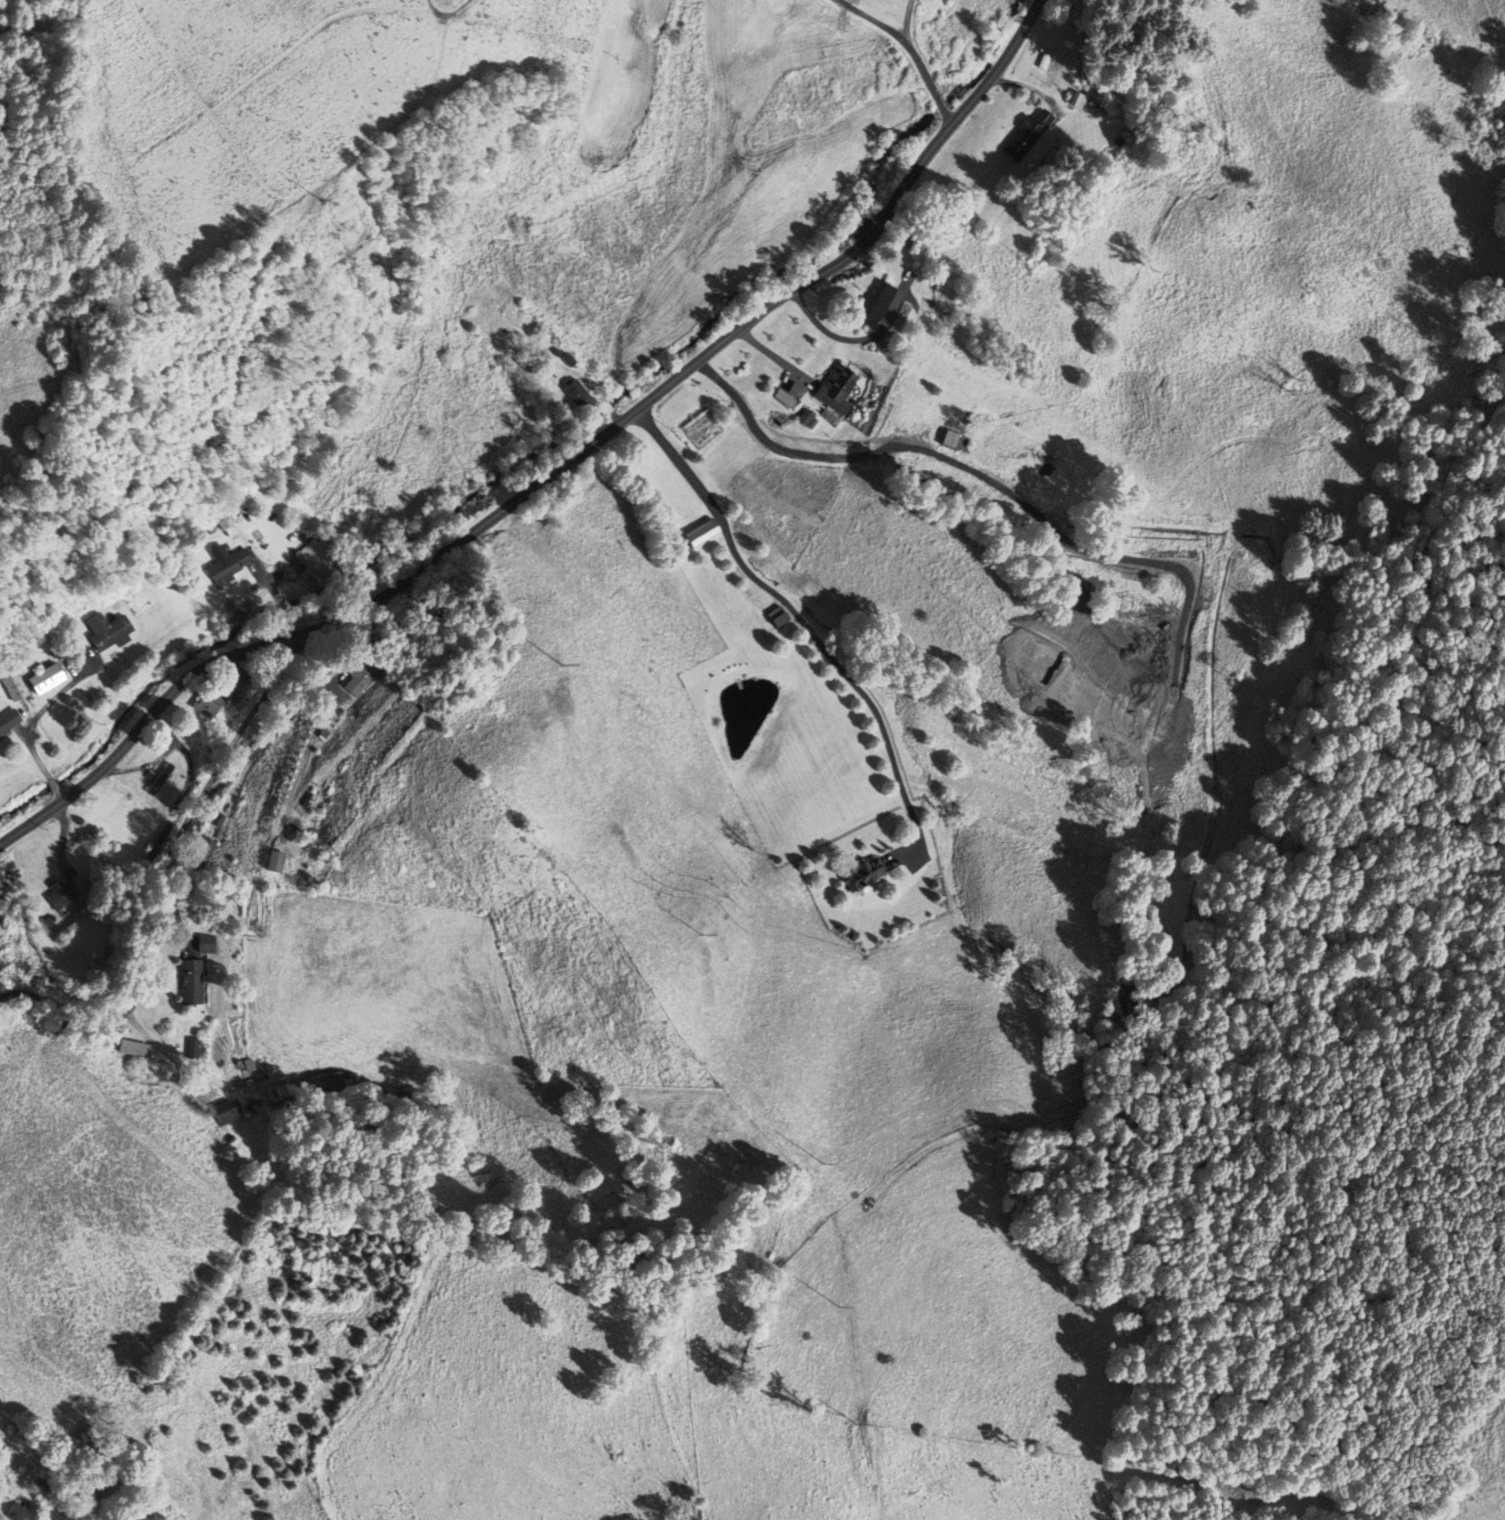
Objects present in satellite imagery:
road: (874, 20)
road: (919, 63)
building: (1074, 99)
building: (1019, 134)
building: (867, 303)
building: (833, 388)
building: (570, 391)
building: (779, 397)
building: (948, 441)
road: (782, 448)
road: (483, 523)
building: (695, 535)
building: (316, 558)
building: (226, 564)
road: (793, 609)
building: (772, 617)
building: (105, 631)
building: (355, 677)
building: (41, 679)
building: (12, 684)
road: (323, 690)
building: (206, 696)
building: (8, 720)
road: (139, 724)
building: (158, 779)
building: (301, 800)
building: (154, 842)
building: (196, 850)
building: (264, 862)
building: (855, 873)
building: (3, 883)
building: (56, 897)
building: (198, 944)
building: (182, 982)
building: (129, 1048)
building: (223, 1111)
building: (79, 1510)
building: (17, 1512)
building: (150, 1515)

